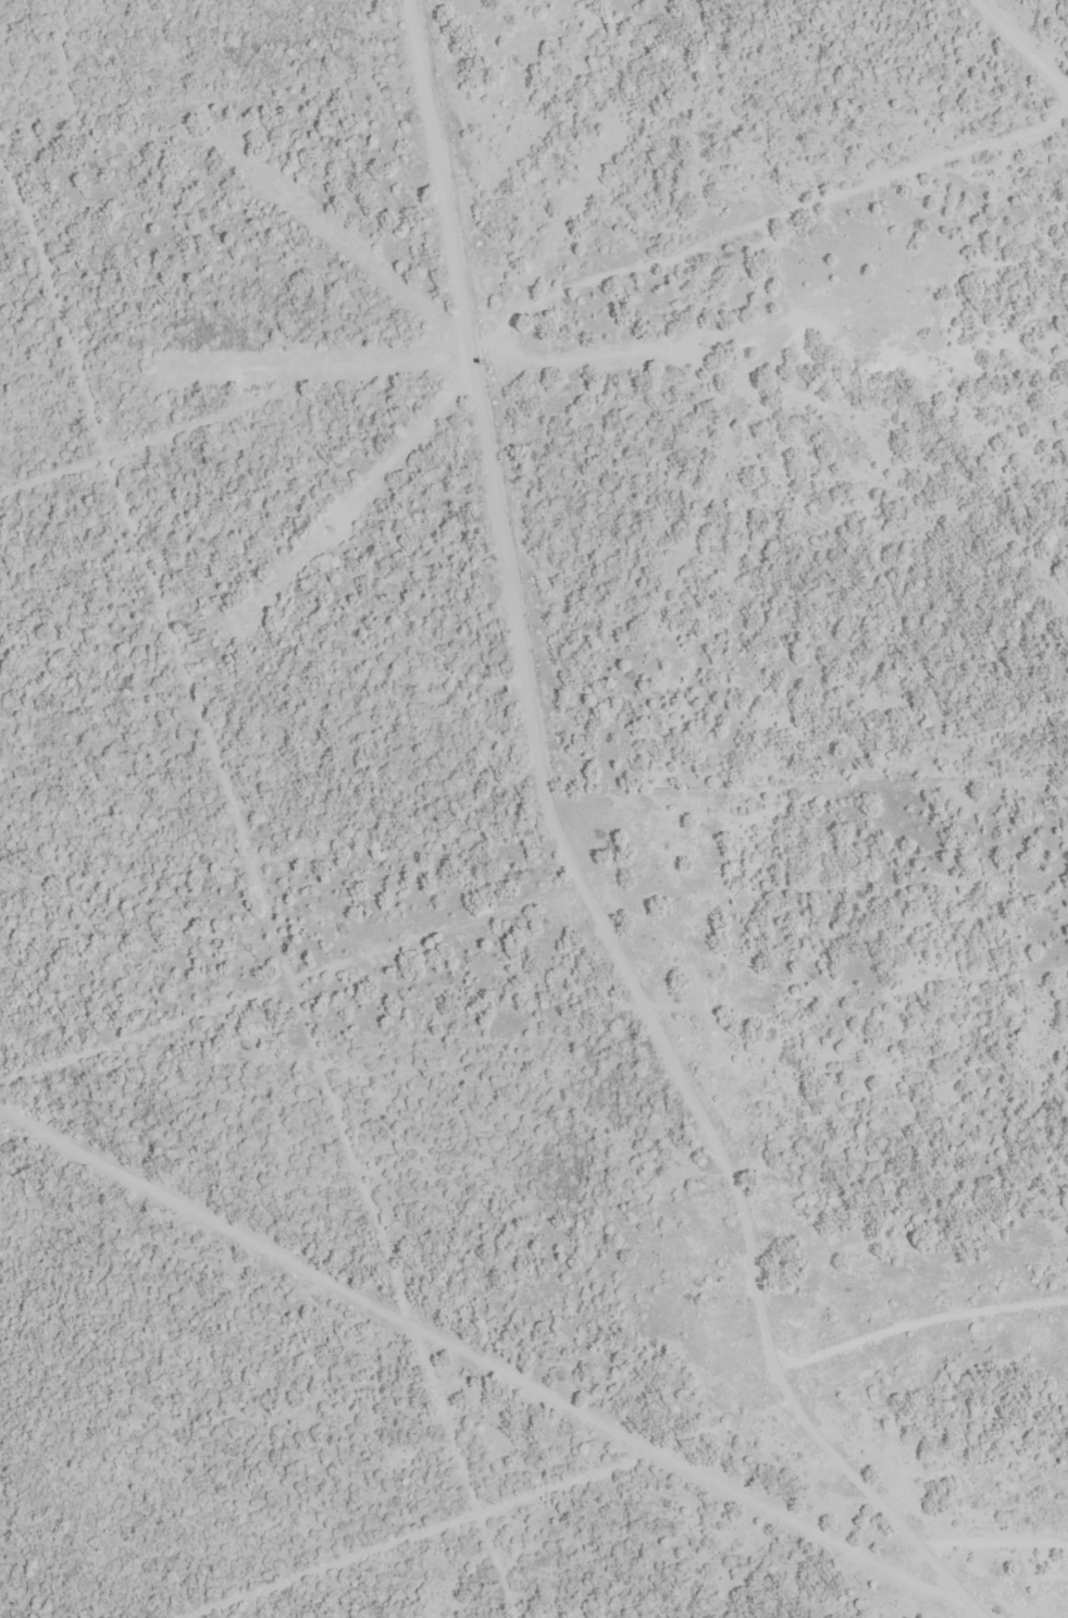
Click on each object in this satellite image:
road: (1029, 40)
road: (705, 174)
road: (654, 830)
road: (494, 1358)
road: (986, 1614)

